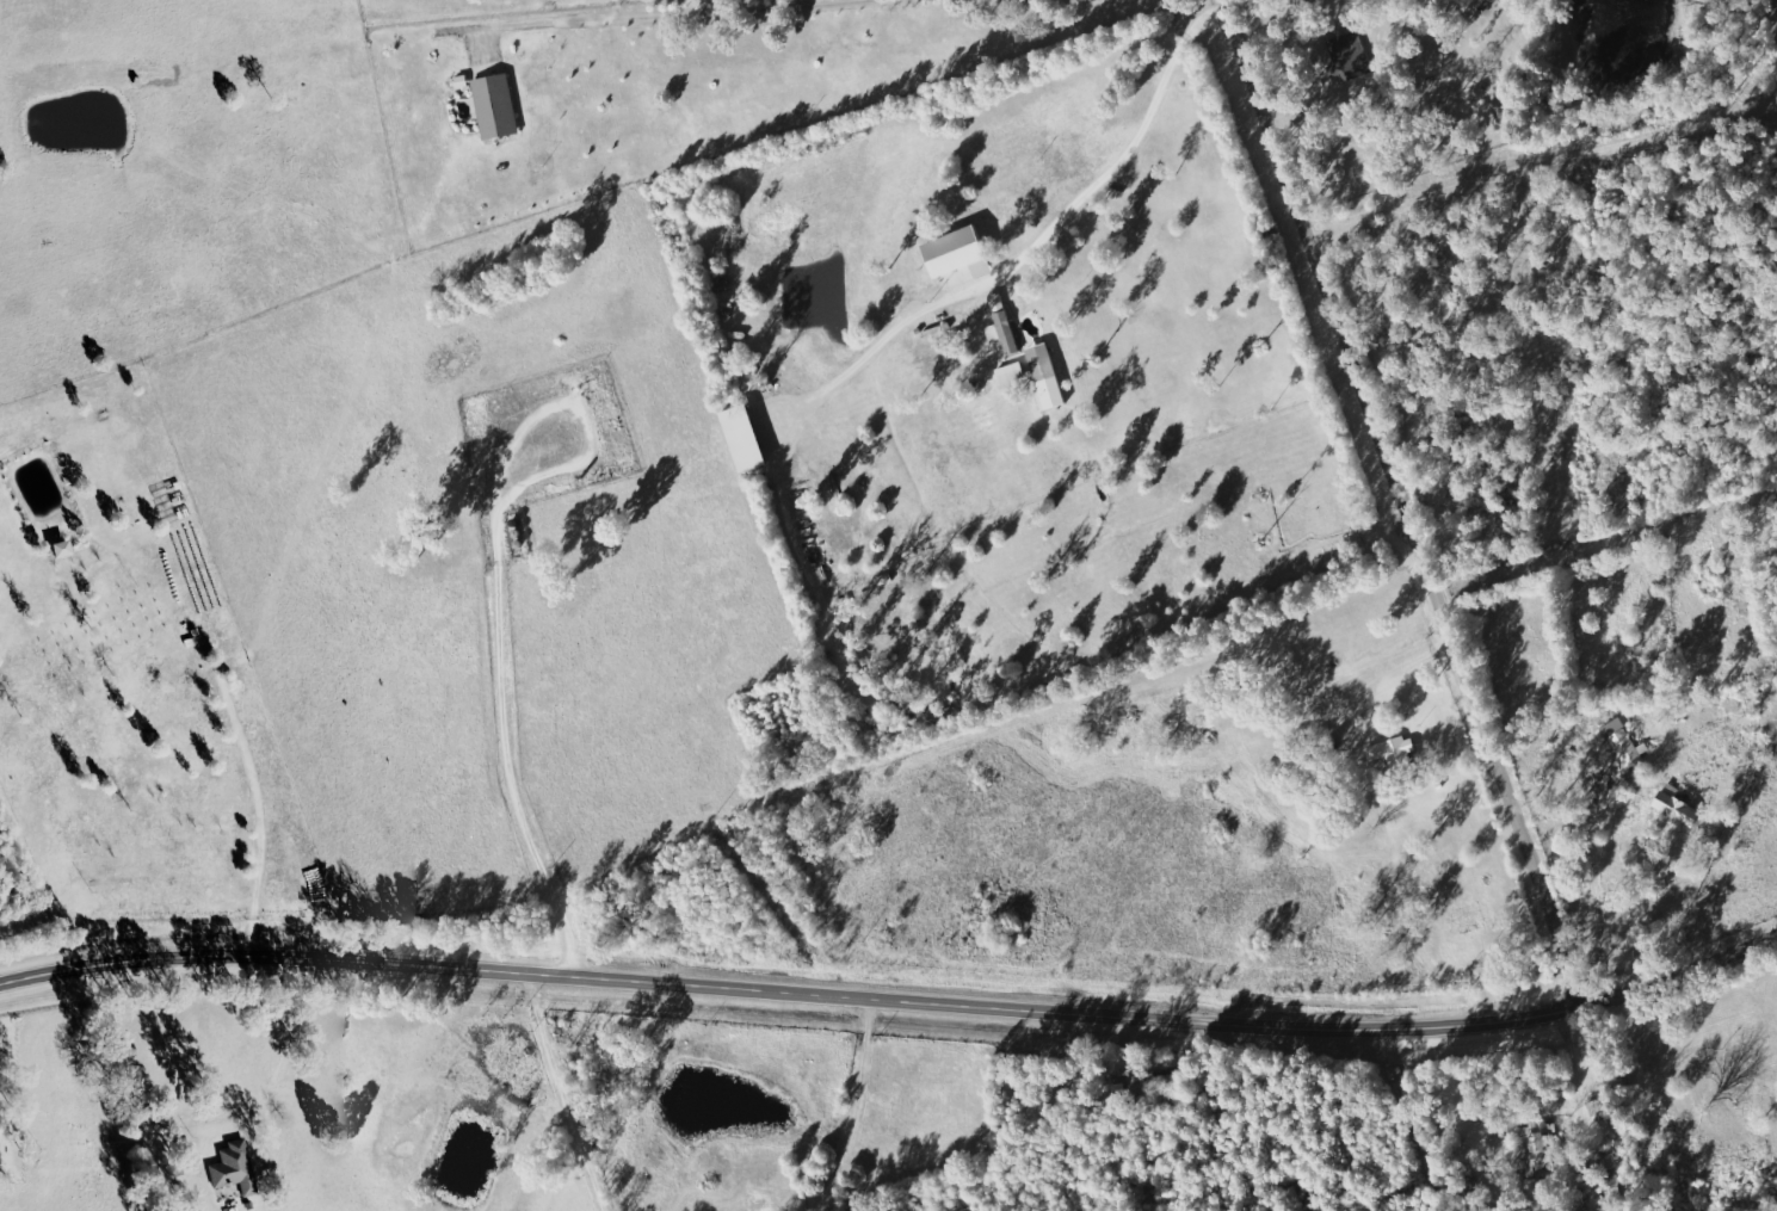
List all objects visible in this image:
building: (1350, 56)
building: (493, 106)
building: (961, 252)
building: (1005, 332)
building: (1012, 372)
building: (1047, 376)
building: (746, 437)
road: (1405, 505)
building: (63, 549)
building: (1625, 748)
building: (1390, 753)
building: (1679, 807)
road: (464, 808)
building: (1439, 882)
road: (1695, 968)
road: (807, 995)
building: (1149, 1082)
road: (846, 1101)
building: (1537, 1149)
building: (235, 1168)

